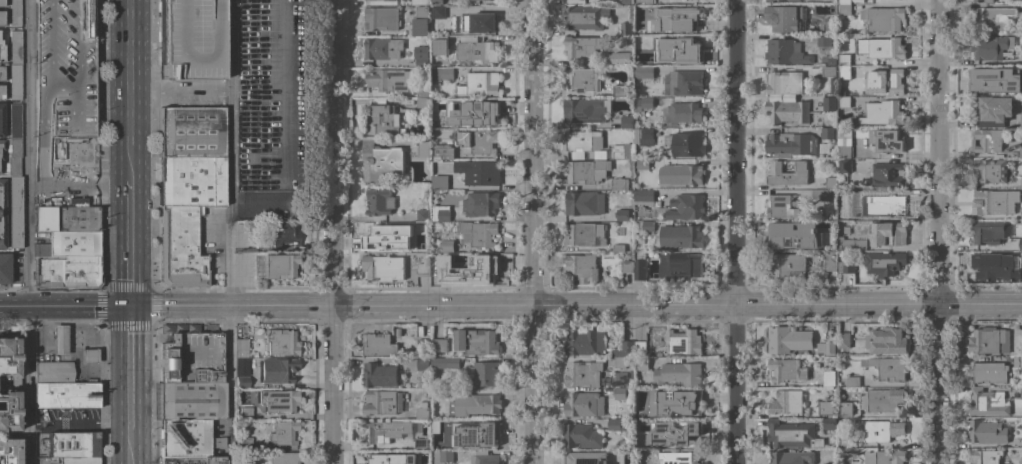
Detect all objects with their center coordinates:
building: (787, 0)
building: (980, 0)
building: (437, 1)
building: (625, 1)
building: (643, 1)
building: (845, 1)
building: (421, 2)
building: (1, 3)
building: (845, 8)
building: (441, 11)
building: (14, 12)
building: (585, 16)
building: (785, 17)
building: (885, 17)
building: (1, 18)
building: (382, 18)
building: (676, 18)
building: (995, 18)
building: (458, 19)
building: (421, 20)
building: (483, 21)
building: (828, 24)
building: (626, 27)
building: (410, 31)
building: (194, 38)
building: (823, 39)
building: (643, 40)
building: (439, 45)
building: (584, 45)
building: (992, 46)
building: (15, 47)
building: (383, 47)
building: (882, 47)
building: (477, 49)
building: (687, 50)
building: (786, 51)
building: (1, 53)
building: (421, 58)
building: (617, 58)
building: (844, 59)
building: (832, 60)
building: (845, 70)
building: (65, 71)
building: (644, 71)
building: (829, 71)
building: (1, 73)
building: (441, 73)
building: (582, 78)
building: (389, 79)
building: (994, 79)
building: (889, 81)
building: (15, 82)
building: (684, 82)
building: (786, 82)
building: (480, 83)
building: (833, 85)
building: (621, 91)
building: (1, 92)
road: (178, 94)
building: (423, 97)
road: (127, 100)
building: (407, 100)
building: (644, 101)
building: (845, 101)
building: (829, 103)
building: (993, 107)
building: (586, 109)
building: (472, 111)
building: (788, 111)
building: (683, 112)
building: (884, 112)
building: (1021, 119)
building: (1, 120)
building: (382, 120)
building: (627, 120)
building: (15, 121)
building: (190, 132)
building: (827, 132)
building: (644, 135)
building: (478, 140)
building: (887, 140)
building: (987, 140)
building: (584, 143)
building: (792, 143)
building: (844, 143)
building: (688, 144)
building: (1, 147)
building: (423, 148)
building: (623, 150)
building: (66, 151)
building: (443, 151)
road: (229, 152)
road: (330, 152)
building: (1017, 152)
building: (14, 157)
building: (381, 160)
building: (644, 163)
building: (844, 165)
building: (583, 170)
building: (991, 170)
building: (480, 172)
building: (682, 173)
building: (788, 173)
building: (887, 175)
building: (649, 178)
building: (191, 181)
building: (440, 182)
building: (831, 182)
building: (1021, 182)
building: (620, 183)
road: (77, 186)
building: (821, 194)
building: (644, 197)
building: (847, 198)
building: (380, 201)
building: (990, 201)
building: (585, 202)
building: (481, 203)
building: (888, 204)
building: (781, 205)
building: (686, 206)
building: (1021, 210)
building: (15, 212)
building: (441, 212)
building: (2, 213)
building: (622, 213)
building: (423, 214)
building: (66, 219)
building: (638, 225)
building: (648, 225)
road: (531, 231)
road: (734, 231)
building: (988, 231)
road: (27, 232)
building: (479, 232)
road: (937, 232)
building: (586, 233)
building: (786, 233)
building: (888, 233)
building: (285, 234)
building: (387, 234)
building: (681, 236)
building: (825, 242)
building: (1020, 243)
building: (70, 244)
building: (851, 244)
building: (448, 245)
building: (424, 246)
building: (619, 247)
building: (180, 248)
road: (127, 253)
building: (830, 260)
building: (884, 262)
building: (441, 263)
building: (788, 264)
building: (991, 264)
building: (680, 265)
building: (280, 266)
building: (483, 266)
building: (627, 266)
building: (846, 266)
building: (384, 267)
building: (424, 267)
building: (582, 267)
building: (5, 268)
building: (259, 268)
building: (640, 268)
building: (66, 272)
road: (979, 302)
road: (734, 303)
road: (431, 304)
road: (229, 305)
road: (13, 306)
road: (77, 307)
traffic signals: (128, 307)
building: (399, 331)
road: (128, 334)
building: (788, 339)
building: (844, 339)
building: (60, 340)
building: (989, 340)
building: (477, 341)
building: (684, 341)
building: (888, 341)
building: (281, 342)
building: (586, 342)
building: (240, 344)
building: (378, 344)
building: (423, 344)
building: (439, 344)
building: (640, 347)
building: (826, 347)
building: (409, 349)
building: (624, 349)
building: (90, 356)
building: (8, 358)
building: (192, 359)
building: (1018, 360)
building: (439, 361)
building: (621, 361)
building: (454, 362)
building: (423, 363)
building: (643, 363)
building: (890, 367)
building: (787, 369)
building: (276, 370)
building: (53, 372)
building: (990, 372)
building: (485, 373)
building: (585, 373)
building: (678, 373)
building: (379, 374)
building: (622, 377)
building: (829, 377)
building: (851, 380)
building: (242, 382)
road: (331, 384)
road: (228, 385)
road: (128, 392)
building: (439, 392)
building: (1021, 392)
building: (624, 393)
building: (66, 395)
building: (883, 399)
building: (276, 400)
building: (189, 401)
building: (786, 401)
building: (381, 402)
building: (675, 402)
building: (989, 402)
building: (475, 404)
building: (584, 404)
building: (1021, 408)
building: (422, 410)
building: (827, 410)
building: (846, 410)
building: (8, 411)
building: (245, 413)
building: (251, 422)
road: (78, 423)
building: (829, 423)
building: (438, 424)
building: (615, 424)
building: (883, 429)
building: (384, 430)
building: (989, 430)
building: (675, 432)
building: (283, 433)
building: (791, 433)
building: (477, 435)
building: (583, 435)
building: (189, 439)
building: (846, 441)
building: (245, 442)
building: (423, 443)
road: (128, 444)
building: (74, 447)
building: (9, 451)
building: (442, 456)
building: (985, 456)
building: (587, 457)
building: (679, 457)
building: (792, 457)
building: (885, 457)
building: (283, 458)
building: (378, 458)
building: (485, 459)
building: (192, 460)
building: (1020, 462)
building: (829, 463)

